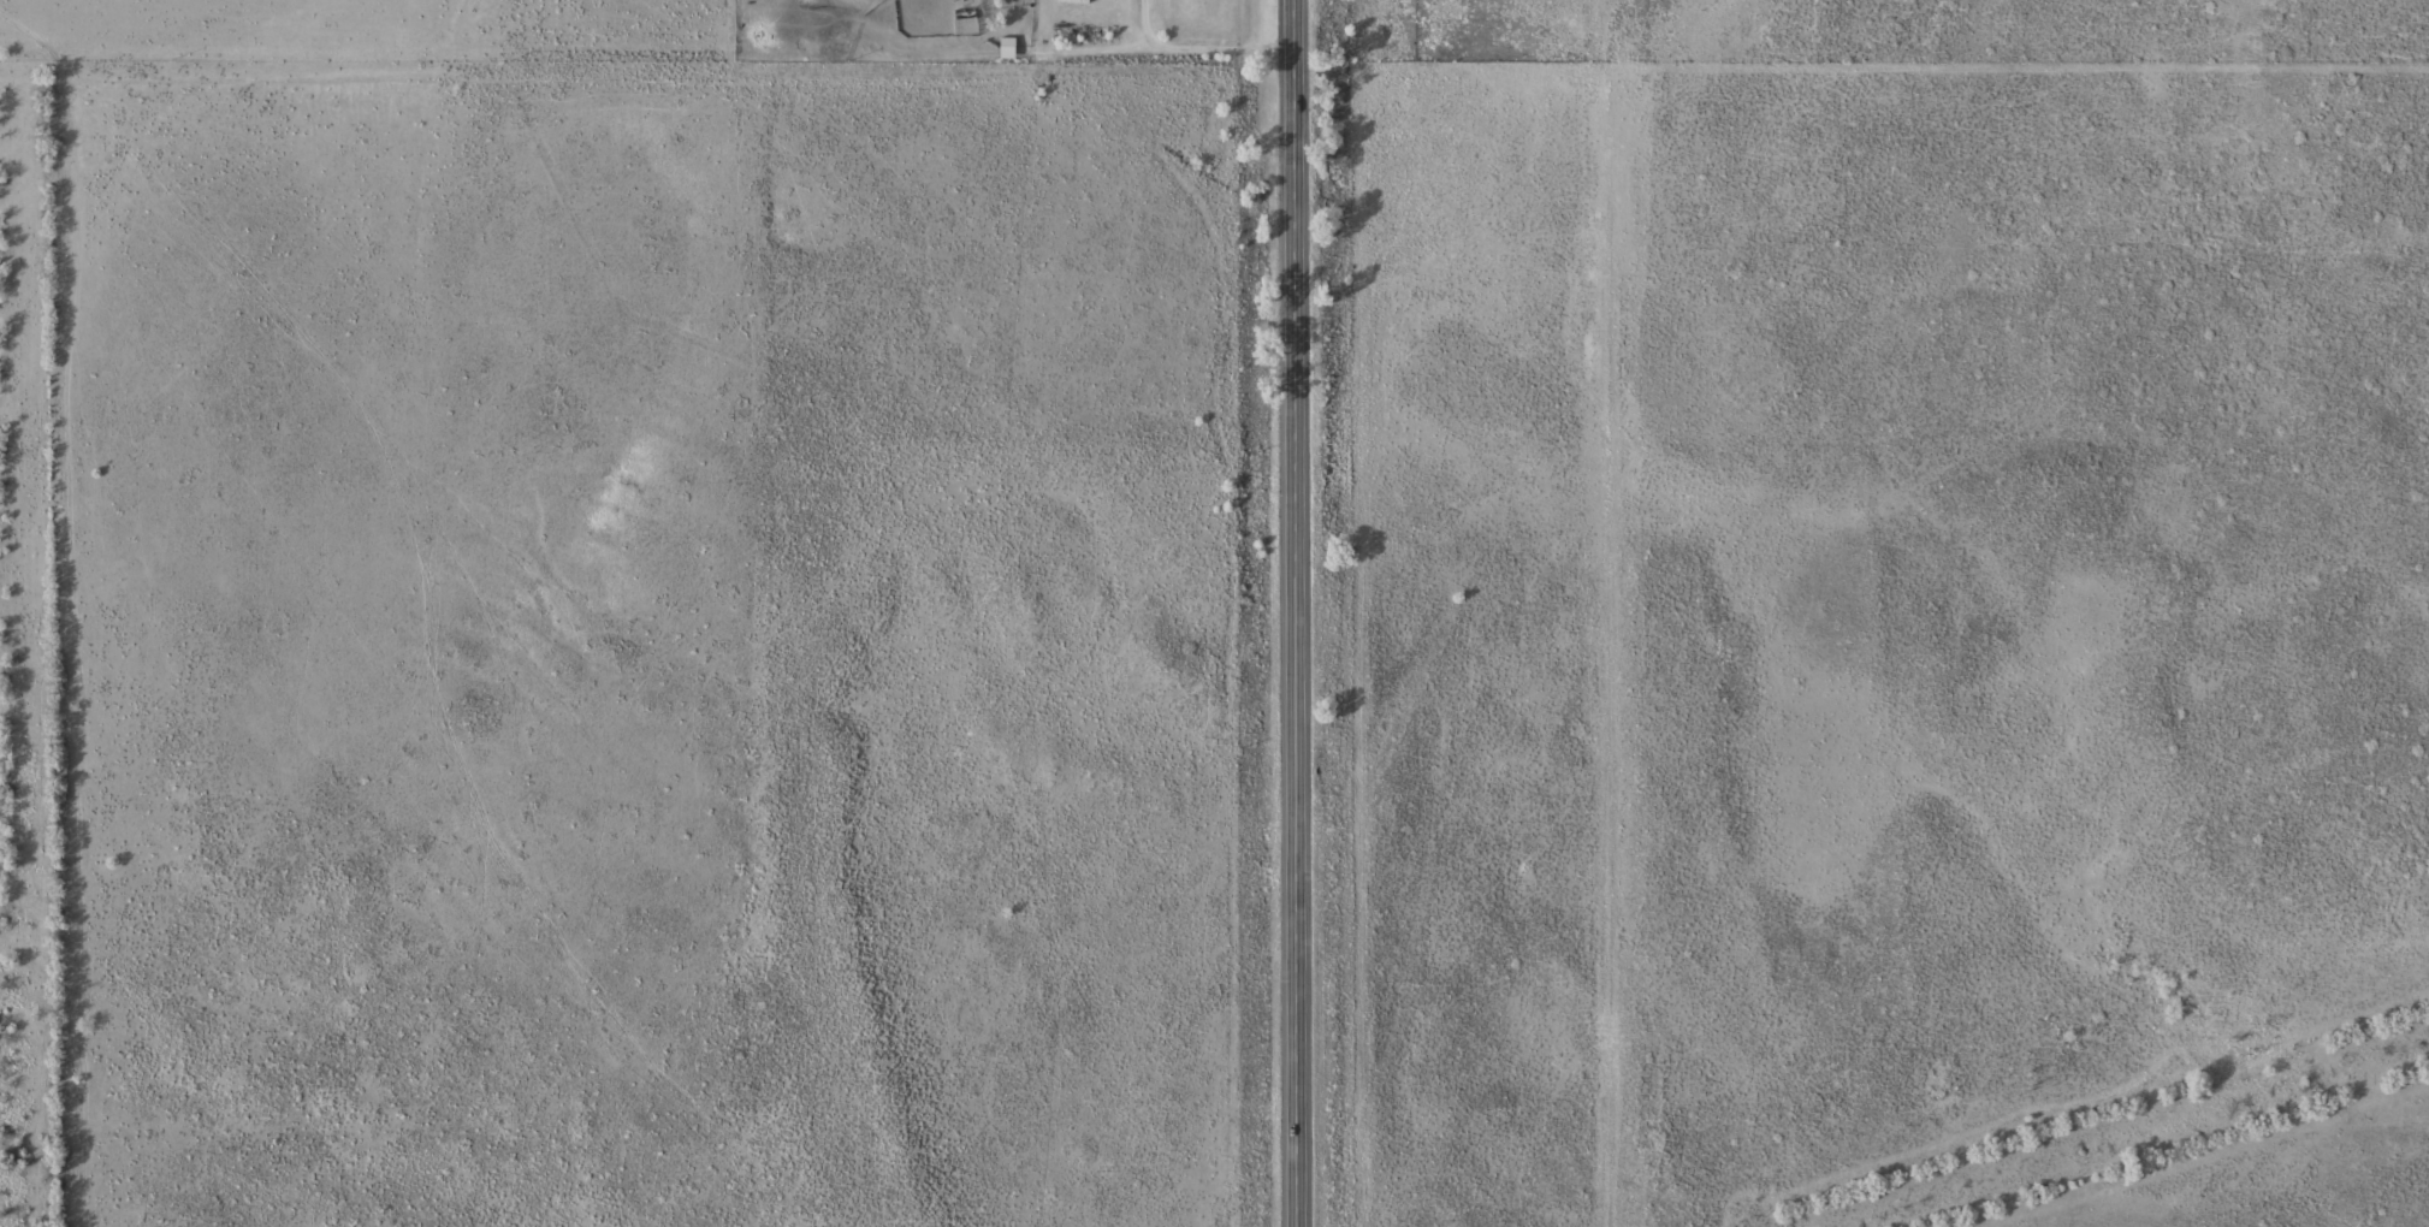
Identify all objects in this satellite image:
road: (926, 16)
road: (647, 47)
road: (1298, 612)

